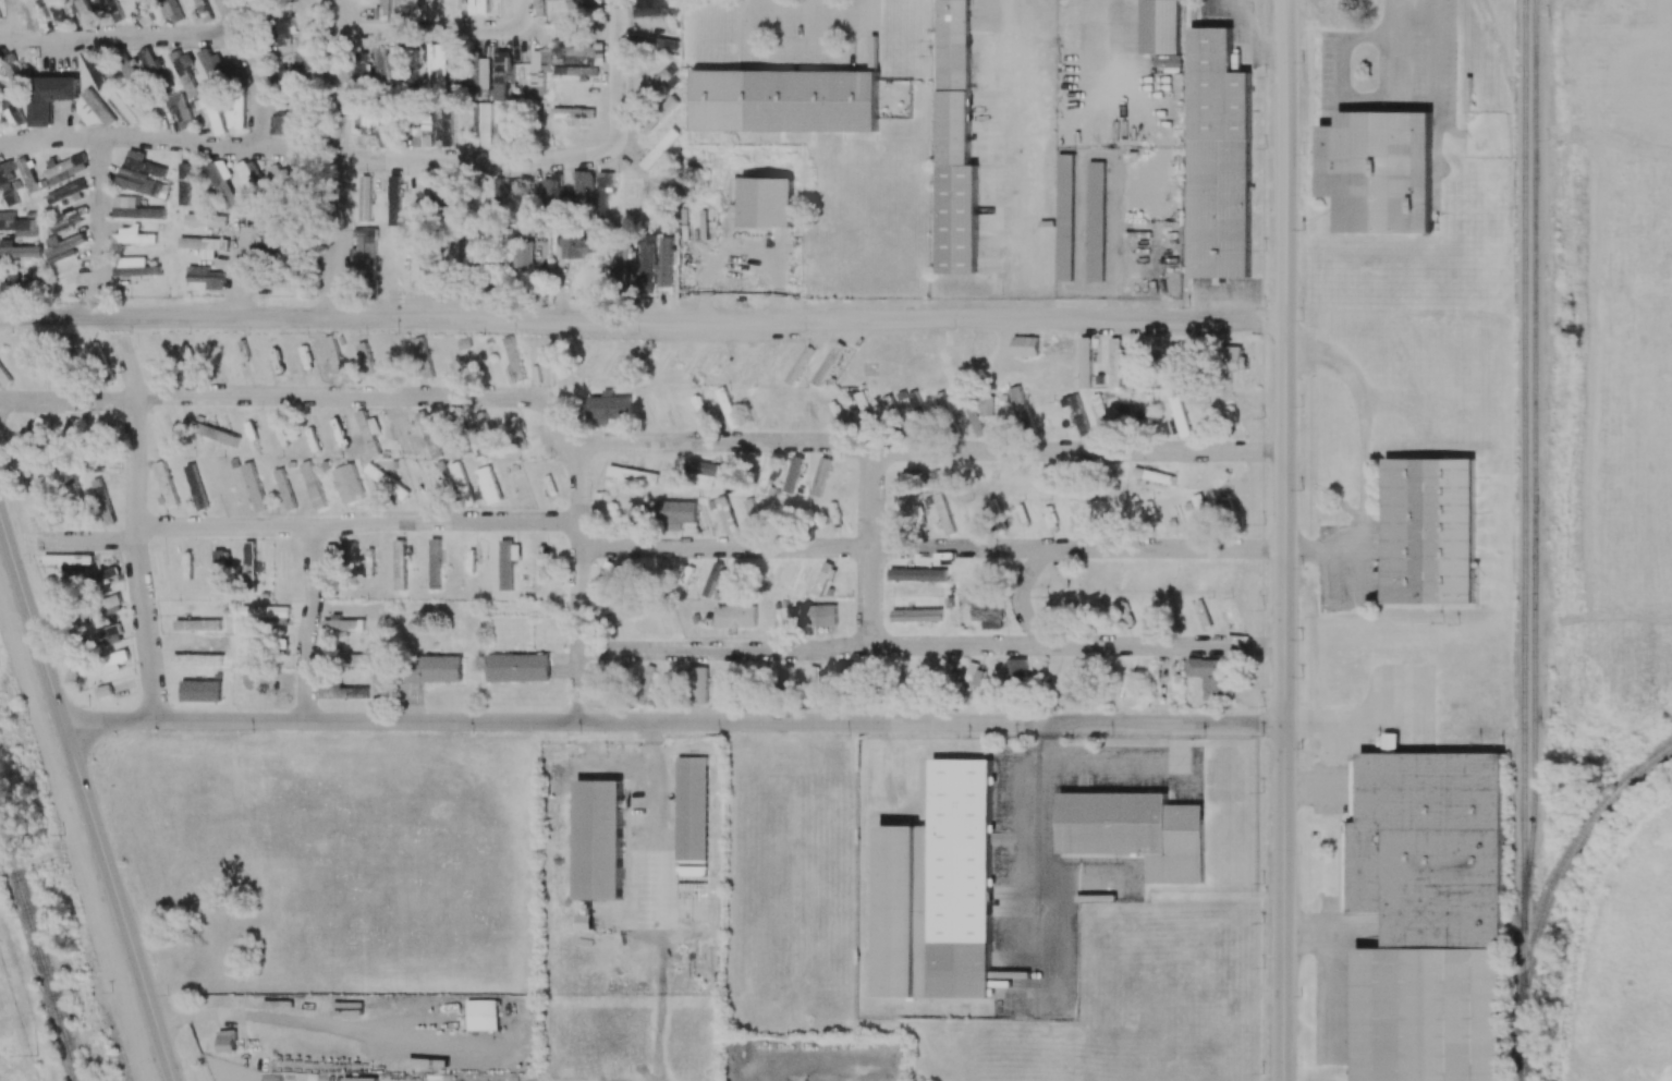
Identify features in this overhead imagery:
building: (551, 0)
building: (582, 4)
building: (403, 7)
building: (478, 7)
building: (539, 7)
building: (51, 10)
building: (113, 10)
building: (204, 10)
building: (85, 11)
building: (144, 11)
building: (172, 11)
building: (382, 11)
road: (225, 17)
building: (284, 23)
building: (1160, 26)
road: (437, 29)
road: (117, 35)
road: (1118, 49)
building: (577, 54)
building: (149, 62)
building: (375, 64)
building: (212, 65)
building: (126, 66)
building: (95, 68)
building: (413, 69)
building: (474, 70)
building: (293, 71)
building: (539, 71)
building: (575, 71)
building: (184, 72)
building: (501, 73)
building: (444, 78)
building: (660, 80)
building: (50, 97)
building: (785, 100)
building: (129, 107)
building: (10, 108)
building: (209, 108)
building: (91, 109)
building: (659, 116)
building: (235, 117)
building: (567, 117)
building: (443, 121)
building: (503, 121)
building: (370, 122)
building: (285, 124)
building: (483, 124)
building: (424, 133)
road: (184, 141)
building: (955, 142)
road: (546, 158)
building: (1219, 158)
road: (332, 159)
building: (143, 163)
building: (66, 169)
building: (1379, 170)
building: (28, 174)
building: (249, 178)
building: (279, 180)
building: (222, 182)
building: (8, 183)
building: (138, 183)
building: (183, 183)
building: (552, 190)
building: (65, 191)
building: (446, 191)
building: (394, 203)
road: (100, 205)
building: (134, 209)
building: (1064, 217)
building: (66, 220)
building: (206, 221)
building: (1096, 221)
building: (17, 224)
building: (133, 235)
building: (474, 241)
building: (204, 243)
building: (366, 244)
building: (576, 247)
building: (63, 248)
building: (16, 250)
building: (272, 250)
building: (453, 257)
building: (523, 257)
building: (646, 259)
building: (666, 260)
building: (134, 267)
road: (240, 270)
building: (430, 272)
building: (206, 277)
road: (642, 321)
building: (1024, 345)
building: (96, 352)
building: (423, 354)
building: (158, 355)
building: (217, 357)
building: (365, 357)
building: (513, 357)
building: (1235, 357)
building: (276, 359)
building: (332, 360)
building: (1084, 362)
building: (1114, 362)
building: (828, 363)
building: (800, 365)
road: (539, 372)
building: (52, 375)
building: (3, 377)
road: (334, 396)
building: (753, 400)
building: (987, 404)
building: (1123, 406)
building: (607, 408)
building: (728, 408)
building: (917, 409)
building: (1021, 410)
building: (1101, 412)
building: (1075, 414)
building: (1177, 417)
building: (976, 422)
building: (39, 425)
building: (513, 425)
building: (99, 426)
road: (136, 428)
building: (68, 432)
building: (162, 432)
building: (369, 433)
building: (398, 433)
building: (459, 433)
building: (486, 433)
building: (428, 434)
building: (225, 437)
road: (923, 448)
railway: (1524, 449)
road: (1362, 454)
building: (708, 469)
building: (768, 473)
building: (632, 474)
building: (792, 474)
building: (1152, 475)
building: (820, 476)
building: (906, 476)
building: (386, 482)
building: (166, 484)
building: (349, 484)
building: (313, 485)
building: (488, 485)
building: (196, 486)
building: (254, 487)
building: (42, 488)
building: (285, 489)
building: (1200, 508)
building: (752, 511)
building: (675, 513)
building: (943, 513)
building: (52, 514)
building: (833, 515)
building: (724, 517)
building: (1429, 532)
road: (134, 534)
road: (87, 537)
road: (1284, 540)
railway: (1534, 540)
road: (869, 545)
road: (931, 545)
building: (249, 558)
building: (68, 559)
building: (508, 562)
building: (220, 563)
building: (435, 563)
building: (399, 564)
building: (157, 566)
building: (333, 567)
building: (661, 568)
building: (917, 574)
building: (103, 575)
building: (716, 575)
building: (1059, 575)
building: (685, 576)
building: (823, 578)
building: (603, 579)
road: (1023, 599)
building: (105, 604)
building: (264, 612)
building: (815, 615)
building: (916, 615)
building: (988, 615)
building: (619, 616)
building: (735, 616)
building: (212, 624)
building: (342, 624)
building: (107, 635)
road: (1224, 644)
road: (578, 648)
building: (196, 658)
building: (350, 658)
building: (113, 660)
building: (86, 667)
building: (380, 667)
building: (517, 667)
building: (434, 668)
building: (1014, 670)
building: (974, 676)
building: (1213, 677)
building: (264, 678)
building: (815, 678)
building: (1073, 682)
road: (1160, 683)
road: (575, 685)
building: (699, 685)
building: (103, 690)
building: (200, 691)
building: (343, 692)
road: (672, 721)
road: (1359, 722)
road: (1131, 768)
road: (1333, 781)
road: (562, 786)
road: (85, 801)
building: (1136, 831)
building: (692, 838)
building: (598, 839)
railway: (1570, 857)
road: (1036, 861)
road: (1083, 886)
building: (940, 888)
building: (1429, 915)
road: (1308, 934)
railway: (39, 951)
street lamp: (1266, 965)
road: (1334, 995)
building: (483, 1015)
road: (302, 1022)
building: (225, 1041)
power tower: (38, 1050)
street lamp: (1302, 1065)
building: (359, 1079)

